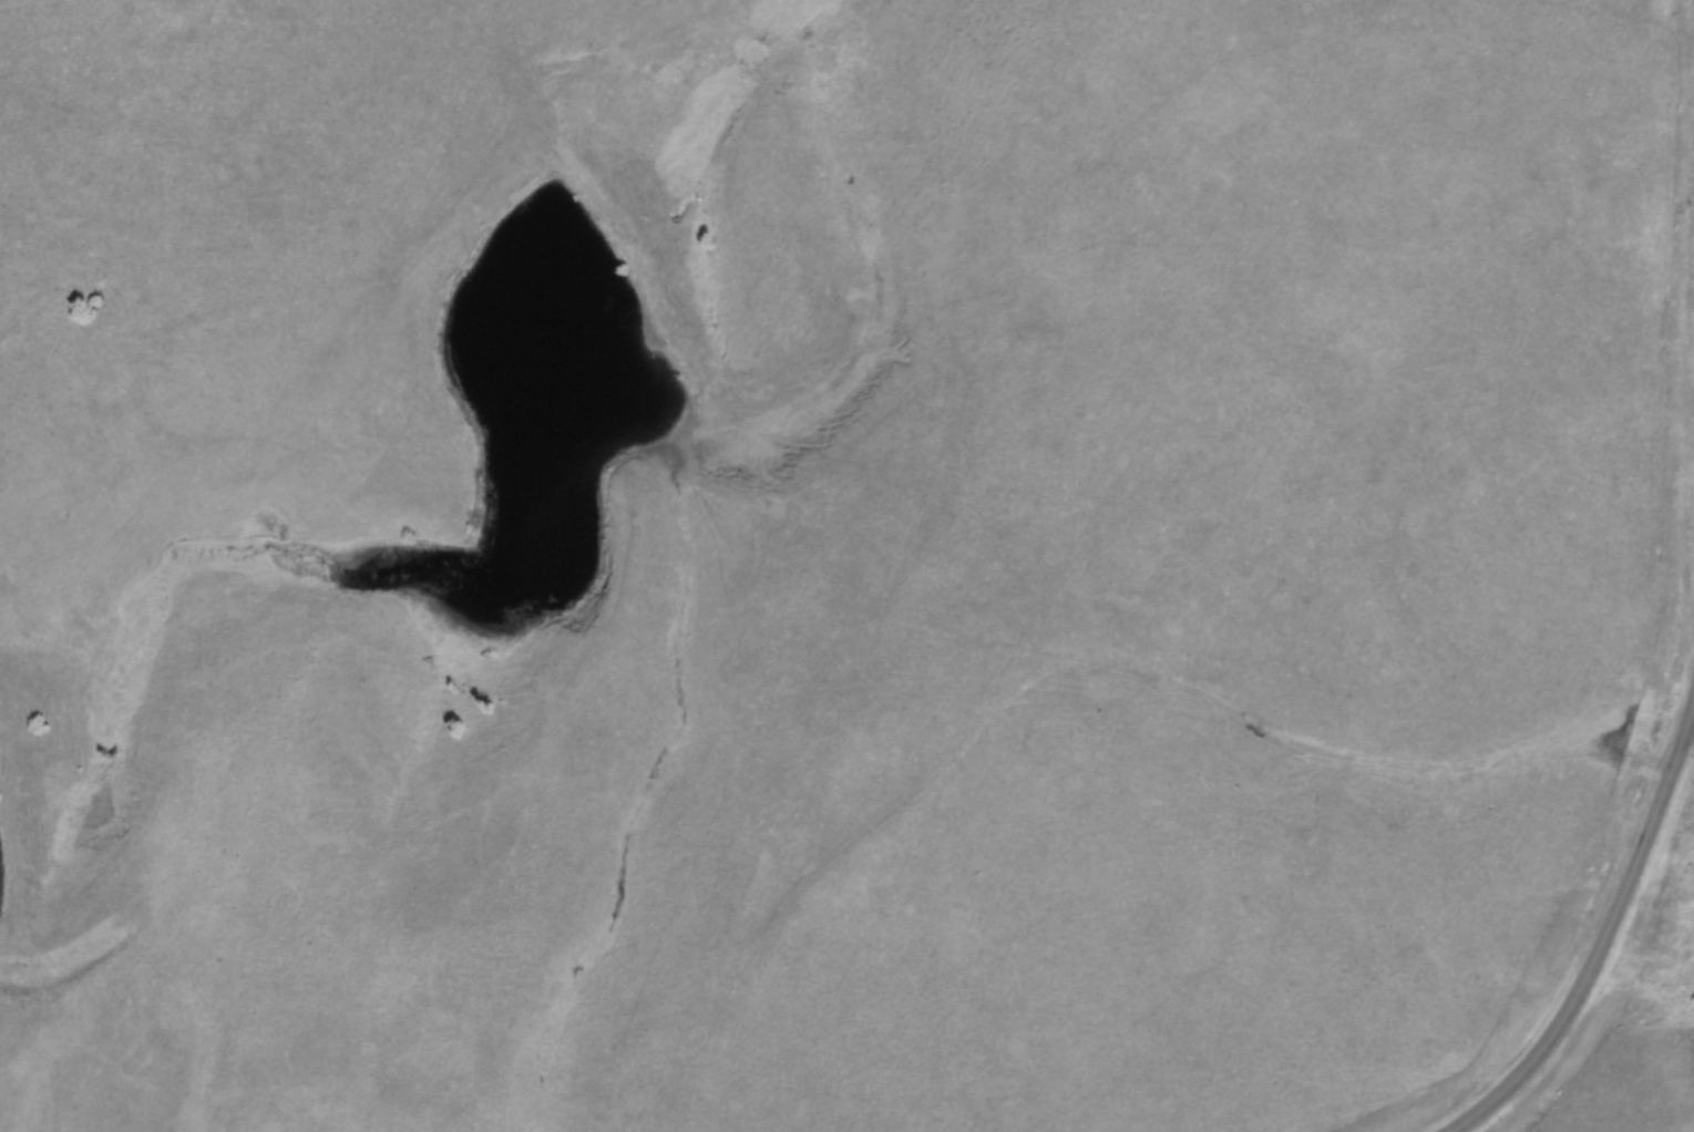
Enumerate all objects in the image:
road: (1604, 924)

